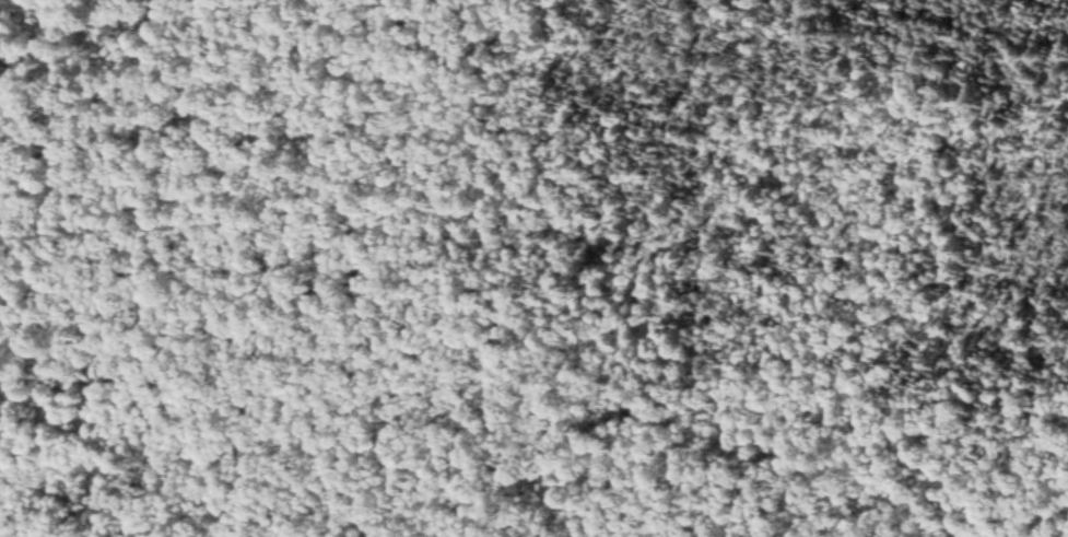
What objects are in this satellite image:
road: (688, 268)

